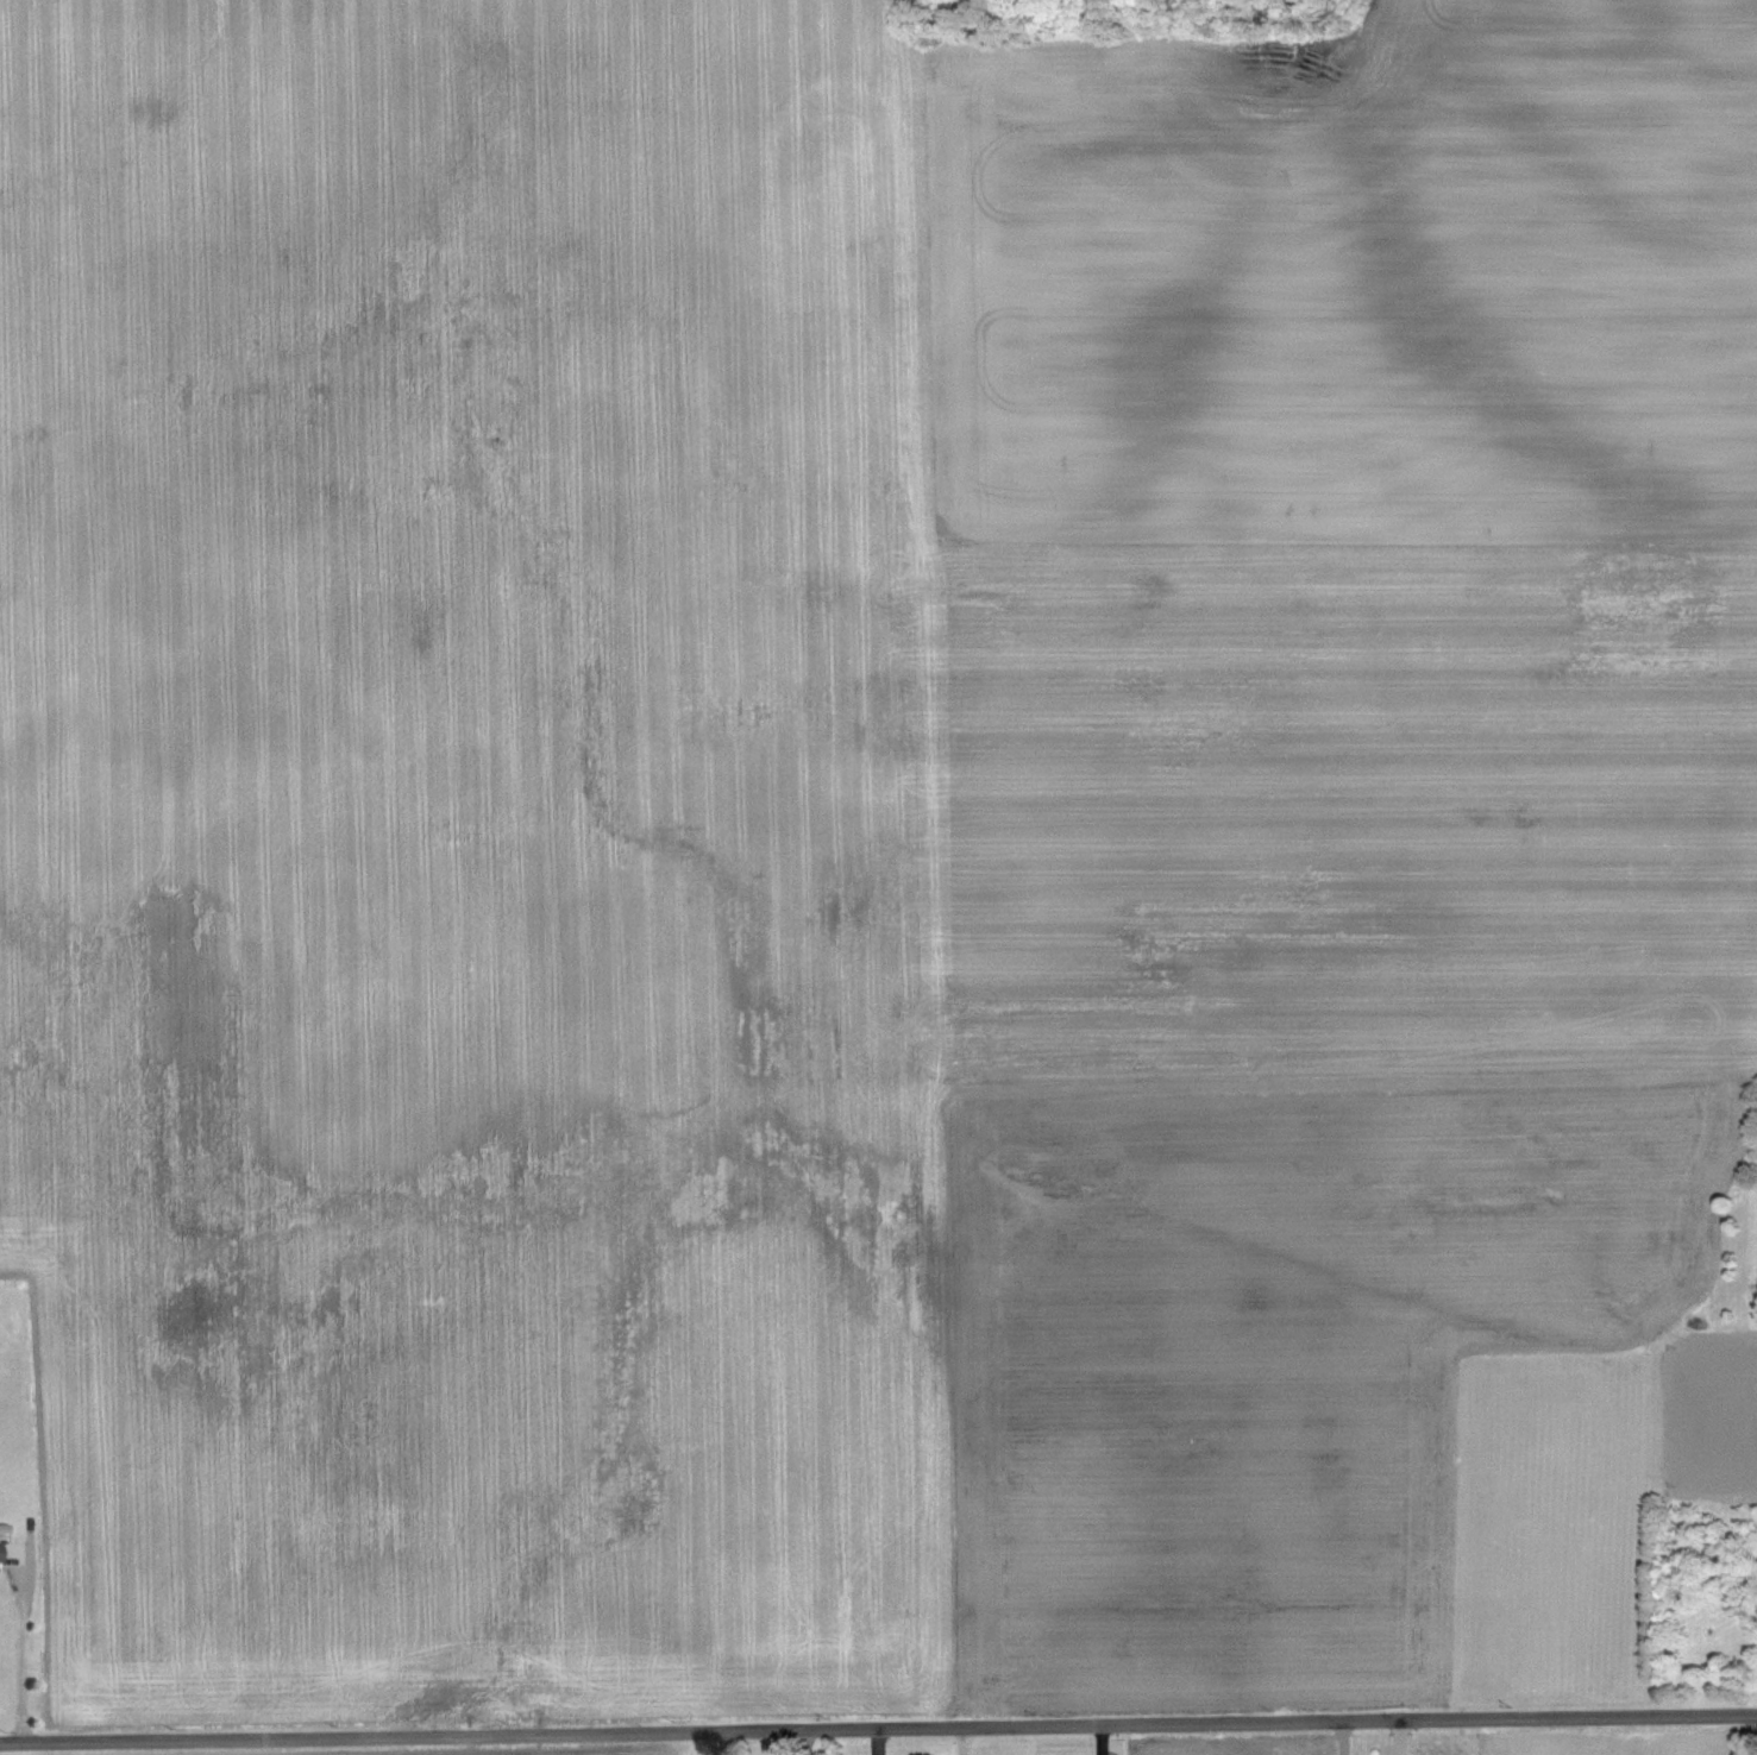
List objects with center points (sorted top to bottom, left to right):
road: (1712, 1391)
building: (1, 1552)
road: (20, 1652)
road: (878, 1729)
road: (1342, 1738)

